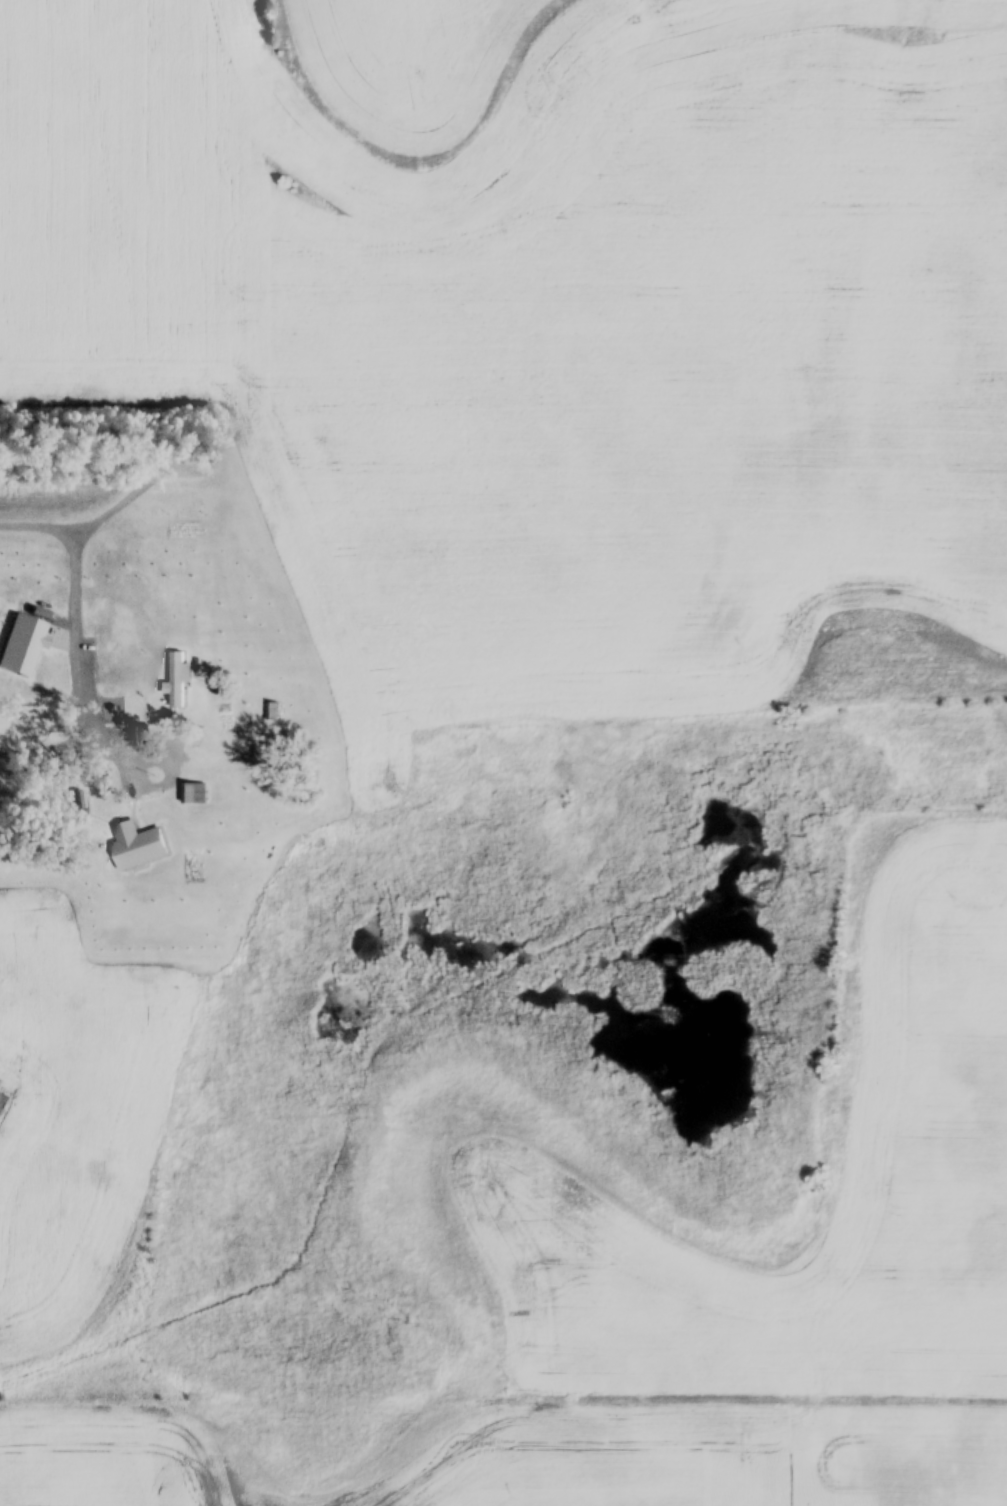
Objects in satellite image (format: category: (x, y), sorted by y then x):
building: (102, 694)
building: (274, 713)
building: (142, 735)
road: (73, 747)
building: (193, 796)
building: (150, 845)

